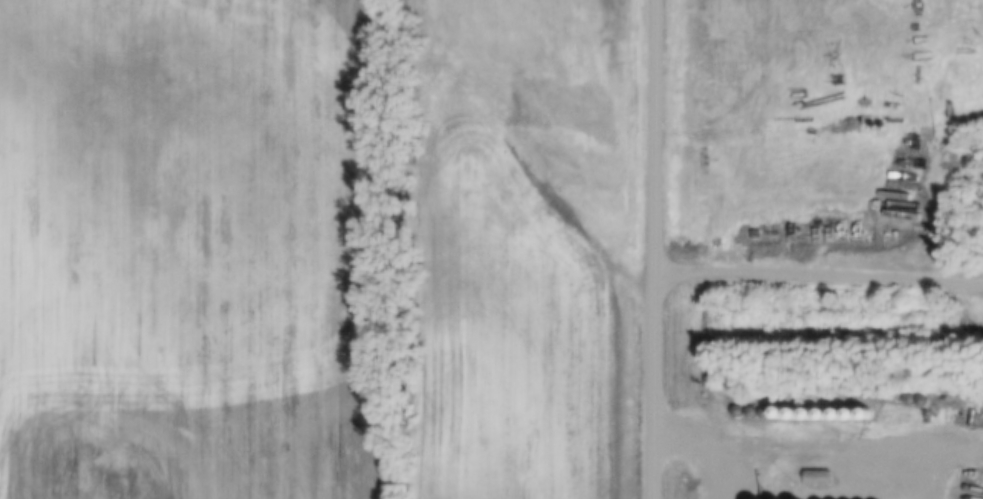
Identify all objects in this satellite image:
road: (652, 249)
road: (817, 274)
building: (814, 416)
road: (817, 442)
building: (816, 479)

